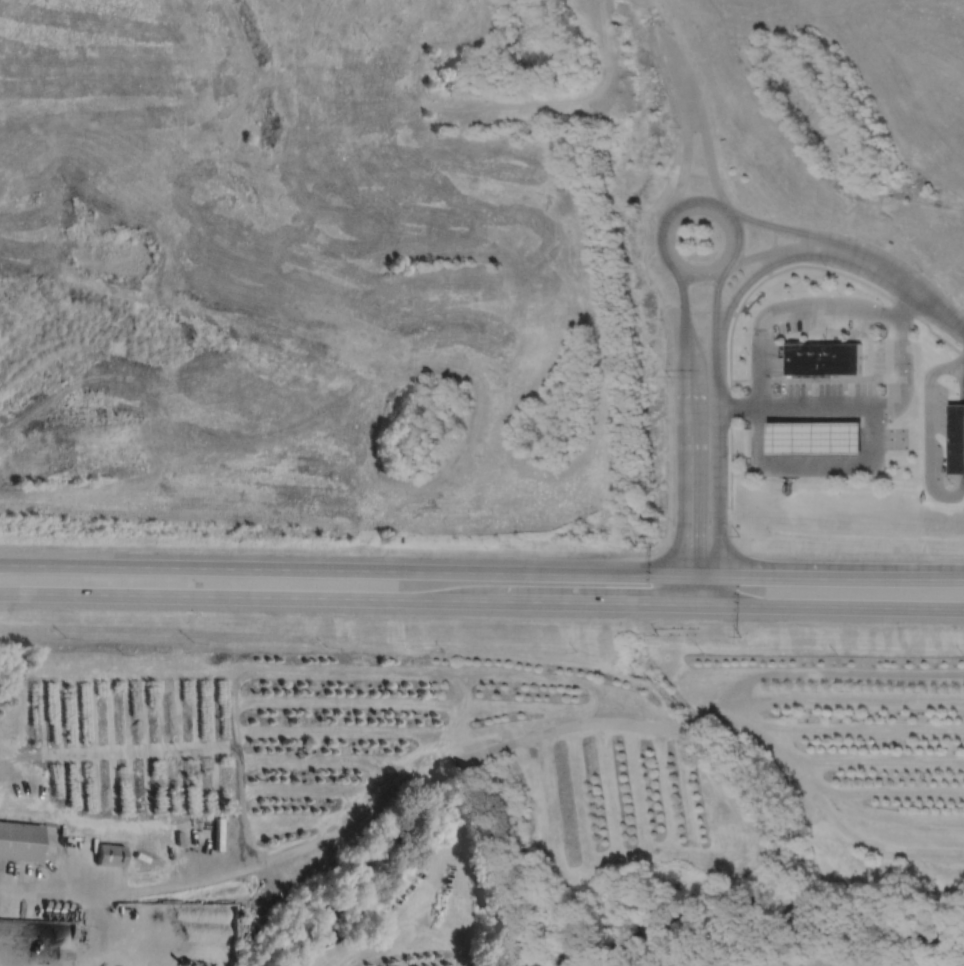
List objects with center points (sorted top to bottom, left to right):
street lamp: (674, 32)
road: (662, 35)
street lamp: (680, 126)
road: (704, 129)
road: (687, 137)
street lamp: (771, 218)
road: (663, 220)
road: (823, 239)
road: (822, 254)
street lamp: (825, 266)
street lamp: (920, 270)
road: (745, 282)
road: (680, 292)
street lamp: (838, 293)
street lamp: (792, 296)
road: (909, 302)
street lamp: (882, 303)
street lamp: (737, 304)
road: (787, 307)
road: (715, 310)
road: (937, 310)
road: (686, 344)
street lamp: (748, 353)
building: (824, 358)
street lamp: (913, 369)
street lamp: (670, 375)
road: (963, 379)
road: (730, 384)
road: (53, 399)
road: (852, 405)
street lamp: (746, 421)
street lamp: (890, 421)
building: (817, 439)
building: (957, 440)
road: (816, 463)
road: (689, 476)
road: (717, 478)
road: (963, 484)
road: (943, 494)
street lamp: (737, 536)
traffic signals: (689, 541)
street lamp: (651, 545)
road: (344, 569)
road: (702, 576)
traffic signals: (738, 576)
road: (835, 577)
road: (958, 579)
road: (688, 590)
road: (237, 595)
road: (581, 601)
traffic signals: (650, 603)
road: (702, 604)
road: (840, 606)
street lamp: (657, 633)
street lamp: (740, 637)
road: (827, 672)
road: (495, 747)
road: (138, 750)
road: (237, 776)
building: (20, 841)
building: (110, 855)
road: (100, 930)

